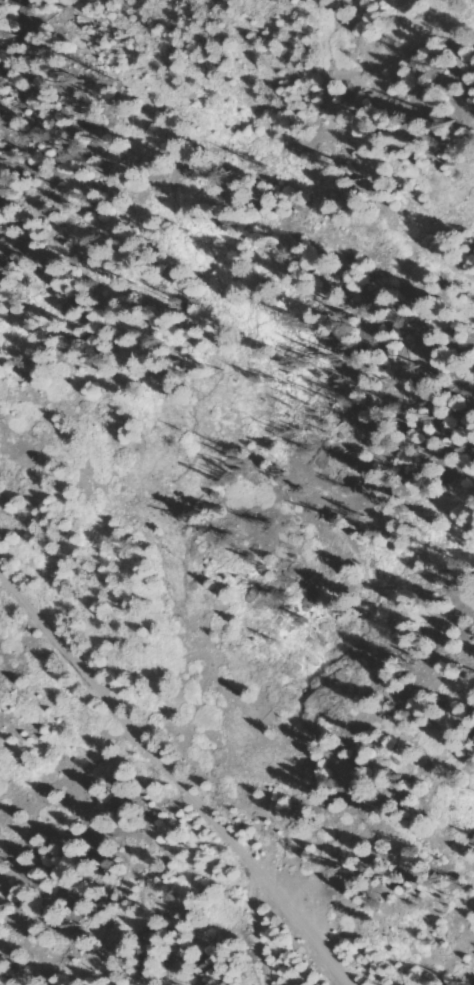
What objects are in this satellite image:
road: (312, 195)
road: (179, 778)
road: (255, 926)

